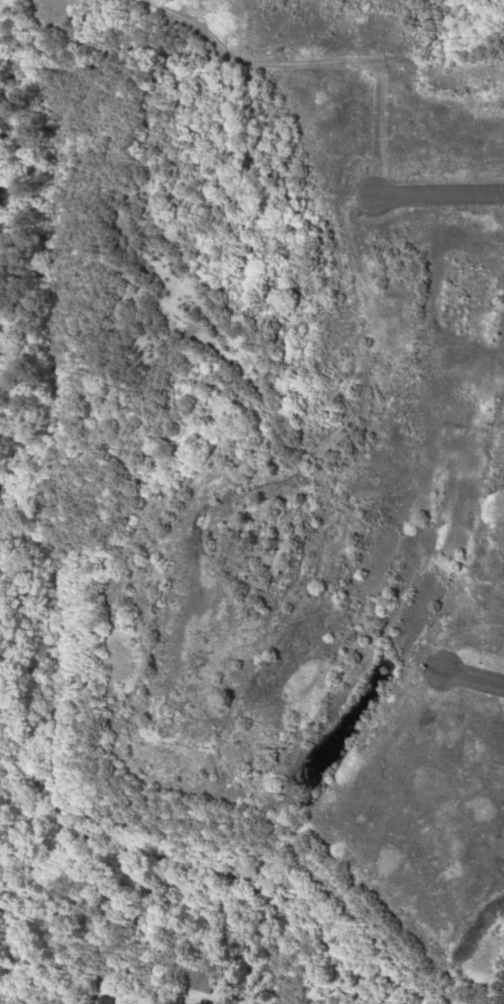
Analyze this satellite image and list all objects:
road: (313, 61)
road: (437, 195)
road: (161, 542)
road: (468, 679)
building: (195, 980)
building: (101, 1000)

